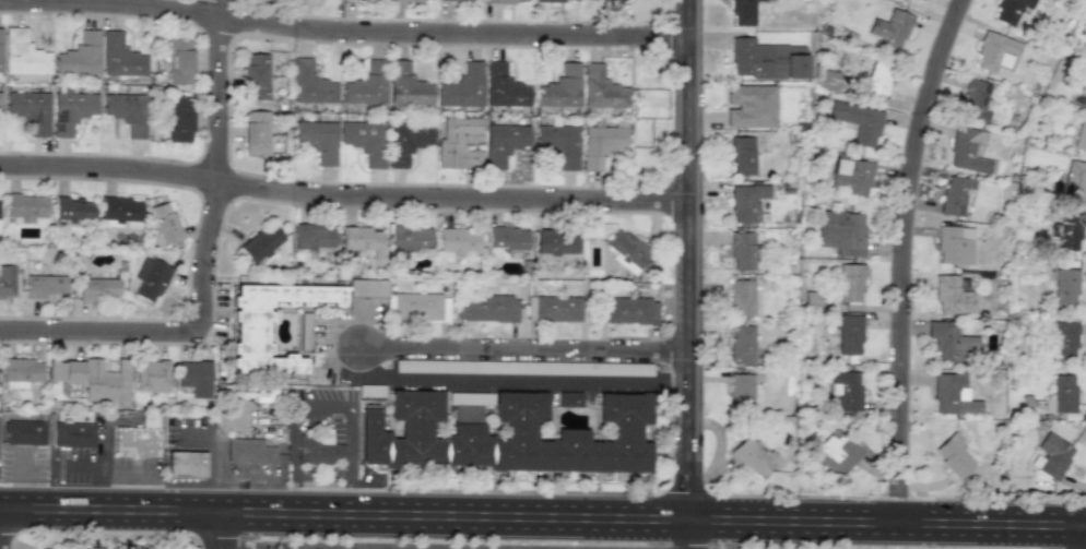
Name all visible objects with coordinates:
building: (461, 0)
building: (555, 0)
building: (760, 0)
building: (404, 1)
building: (508, 1)
building: (612, 1)
building: (1011, 10)
building: (742, 12)
building: (889, 27)
road: (340, 32)
building: (0, 41)
building: (995, 51)
building: (80, 55)
building: (119, 56)
building: (24, 57)
building: (765, 60)
building: (178, 61)
building: (255, 75)
building: (828, 79)
building: (880, 79)
building: (309, 83)
building: (367, 84)
building: (406, 85)
building: (462, 86)
building: (504, 87)
building: (560, 87)
building: (601, 88)
building: (973, 100)
building: (0, 102)
building: (1085, 102)
building: (1085, 104)
building: (751, 106)
building: (29, 109)
building: (70, 111)
building: (127, 112)
building: (179, 119)
building: (858, 121)
building: (256, 134)
building: (1081, 134)
building: (317, 140)
building: (365, 141)
building: (406, 142)
building: (457, 142)
building: (503, 143)
building: (558, 144)
building: (600, 144)
building: (968, 151)
building: (742, 156)
road: (215, 165)
building: (851, 178)
building: (1074, 179)
building: (955, 194)
road: (339, 196)
building: (746, 201)
building: (24, 207)
building: (72, 208)
building: (120, 210)
building: (164, 223)
building: (1066, 230)
building: (841, 231)
building: (311, 236)
building: (409, 238)
building: (362, 240)
building: (458, 240)
building: (506, 241)
building: (261, 242)
building: (555, 243)
building: (954, 244)
building: (626, 250)
building: (743, 250)
road: (896, 255)
road: (680, 259)
building: (150, 278)
building: (7, 282)
building: (850, 283)
building: (45, 286)
building: (1065, 287)
building: (97, 288)
building: (367, 288)
building: (951, 295)
building: (745, 299)
building: (420, 306)
building: (486, 308)
building: (553, 309)
building: (627, 310)
road: (99, 329)
building: (304, 331)
building: (848, 335)
building: (250, 337)
building: (1063, 337)
building: (952, 343)
building: (741, 345)
road: (520, 350)
building: (557, 368)
building: (64, 370)
building: (20, 371)
building: (151, 375)
building: (196, 378)
road: (511, 379)
building: (106, 382)
building: (741, 390)
building: (846, 390)
building: (265, 394)
building: (953, 395)
building: (1061, 395)
building: (569, 398)
road: (323, 408)
building: (25, 432)
building: (73, 434)
building: (509, 437)
building: (138, 438)
building: (319, 450)
building: (249, 451)
building: (836, 454)
building: (954, 455)
building: (1051, 455)
building: (751, 456)
building: (186, 464)
road: (99, 470)
road: (24, 481)
road: (543, 515)
road: (2, 528)
road: (217, 530)
road: (677, 534)
road: (1072, 537)
building: (42, 548)
building: (94, 548)
road: (347, 548)

